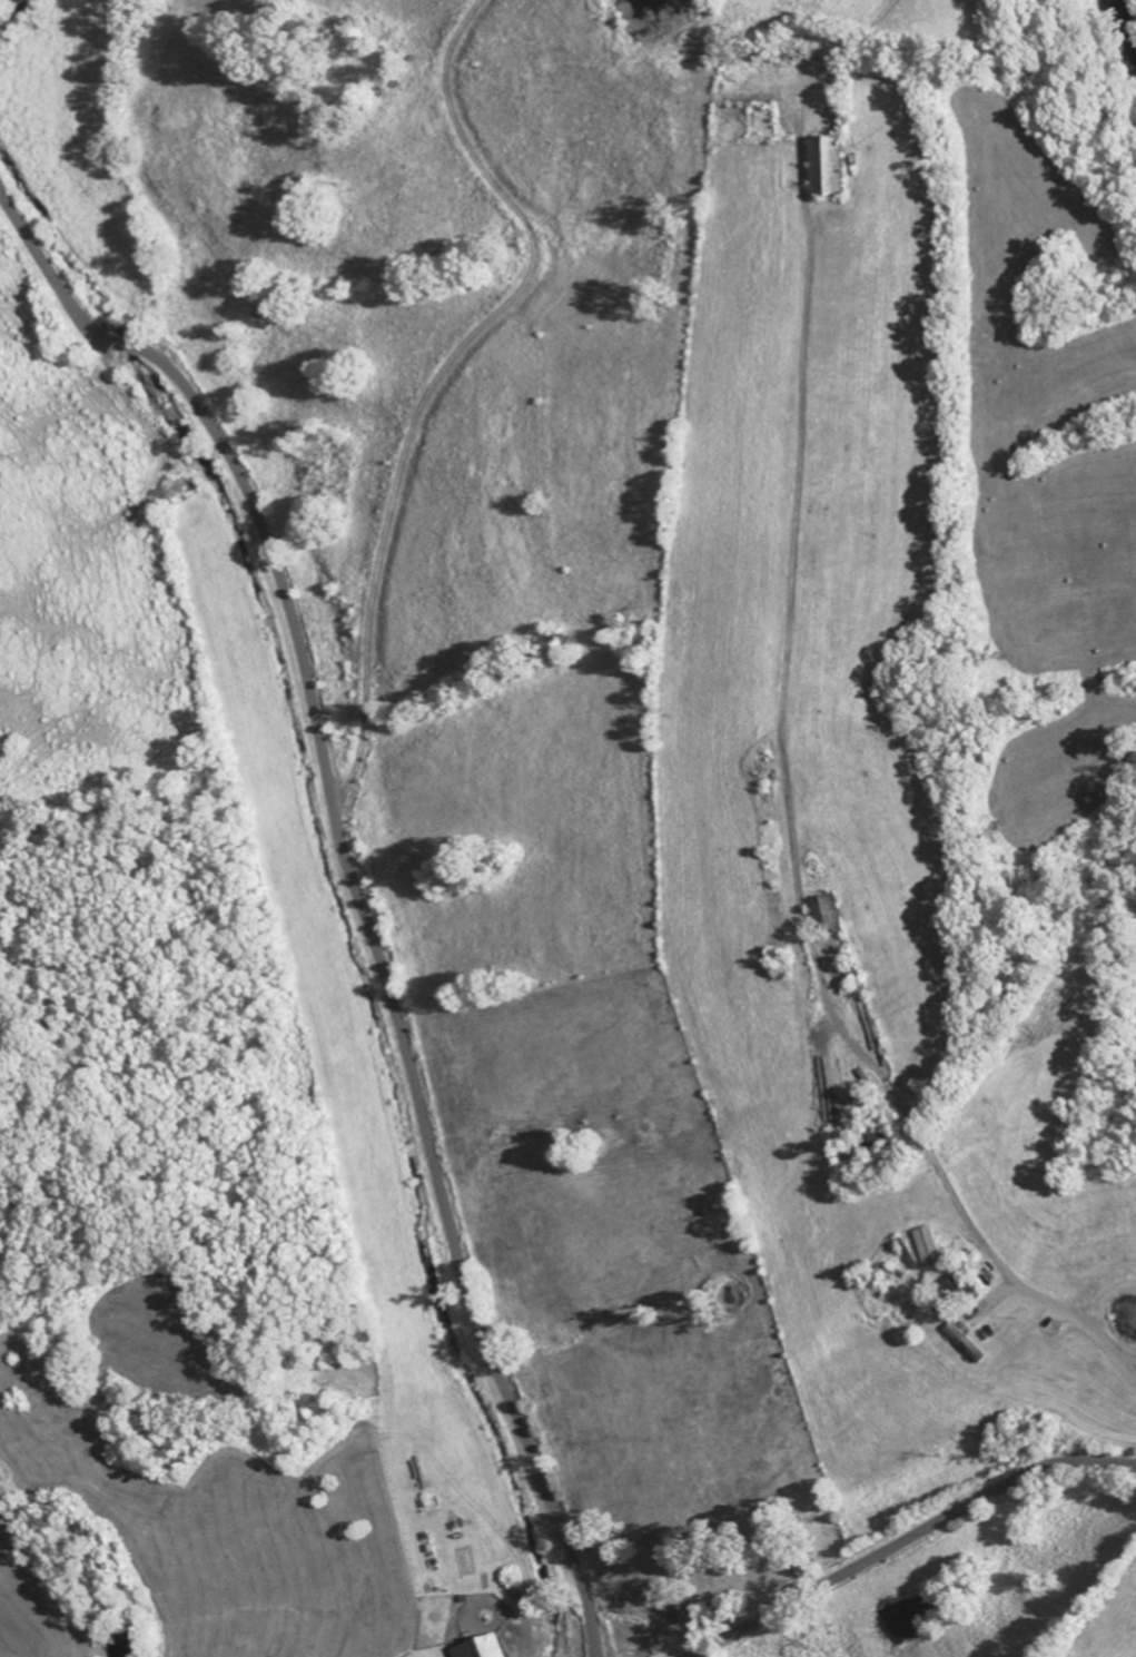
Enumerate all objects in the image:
road: (330, 88)
building: (832, 165)
road: (798, 840)
road: (354, 886)
building: (831, 913)
building: (882, 1143)
building: (913, 1253)
building: (965, 1292)
building: (972, 1342)
road: (907, 1541)
road: (1120, 1637)
building: (480, 1648)

